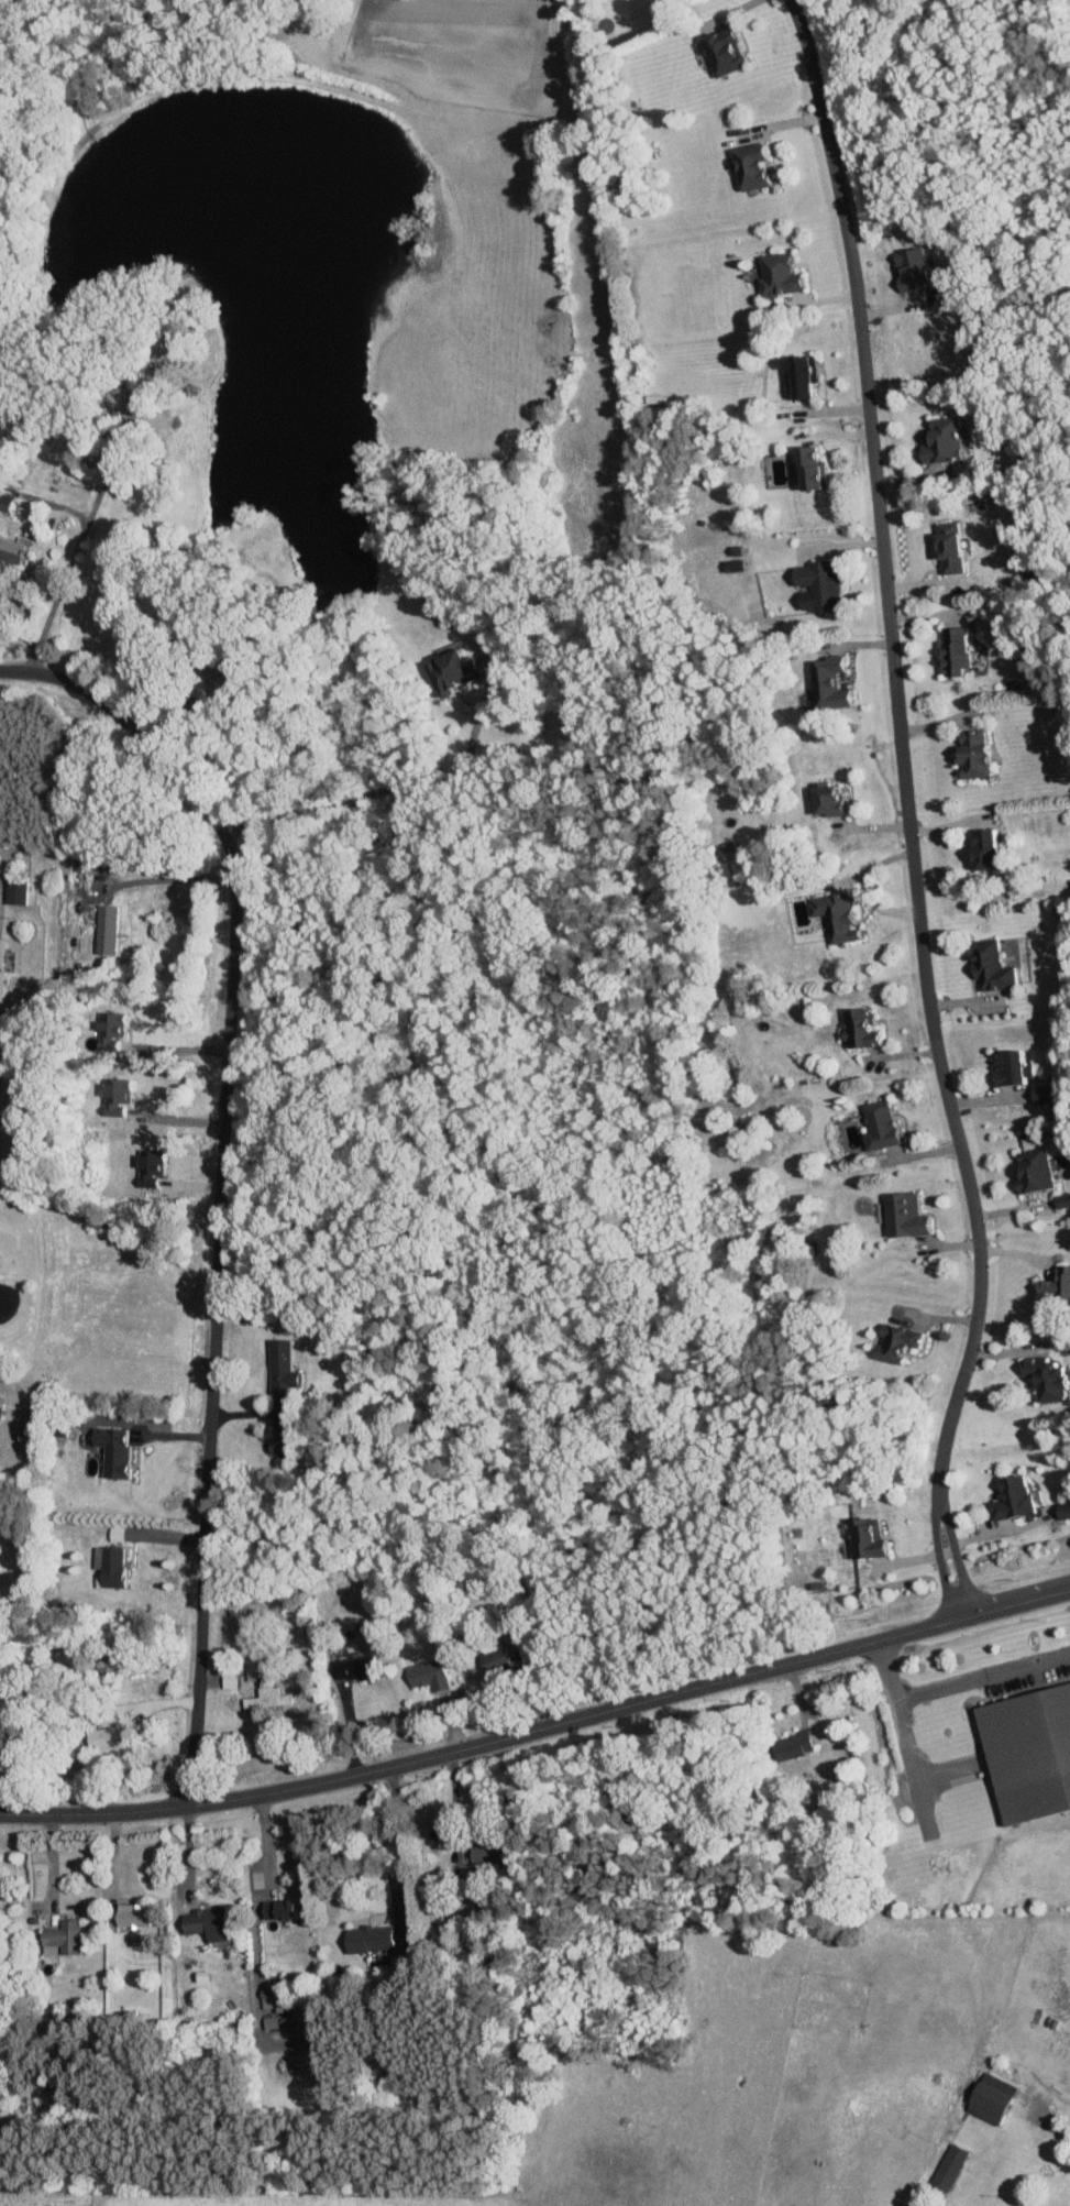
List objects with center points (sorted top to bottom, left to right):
building: (720, 52)
building: (748, 167)
building: (909, 270)
building: (775, 273)
building: (797, 373)
building: (939, 438)
building: (807, 468)
building: (9, 504)
building: (946, 547)
building: (13, 548)
road: (66, 573)
building: (815, 584)
road: (19, 630)
building: (951, 649)
building: (461, 671)
building: (827, 682)
road: (213, 726)
building: (969, 754)
road: (394, 787)
building: (821, 799)
road: (907, 810)
building: (980, 847)
road: (169, 879)
building: (20, 891)
building: (832, 915)
building: (113, 929)
building: (4, 966)
building: (988, 966)
building: (857, 1028)
road: (175, 1046)
building: (1010, 1067)
building: (122, 1099)
building: (1040, 1099)
building: (1, 1123)
building: (876, 1126)
building: (156, 1167)
building: (1030, 1170)
road: (221, 1175)
building: (902, 1215)
building: (1060, 1282)
road: (3, 1300)
building: (892, 1342)
building: (287, 1365)
building: (1043, 1378)
building: (120, 1449)
building: (1008, 1497)
building: (1061, 1514)
building: (864, 1538)
building: (118, 1566)
building: (358, 1668)
building: (435, 1675)
road: (983, 1679)
building: (232, 1680)
building: (272, 1697)
road: (539, 1728)
road: (905, 1736)
building: (115, 1739)
building: (791, 1745)
building: (1029, 1754)
road: (405, 1844)
road: (258, 1896)
building: (286, 1909)
building: (137, 1914)
building: (211, 1923)
building: (365, 1938)
building: (66, 1939)
building: (266, 1998)
building: (269, 2022)
building: (988, 2096)
road: (1045, 2121)
building: (946, 2167)

